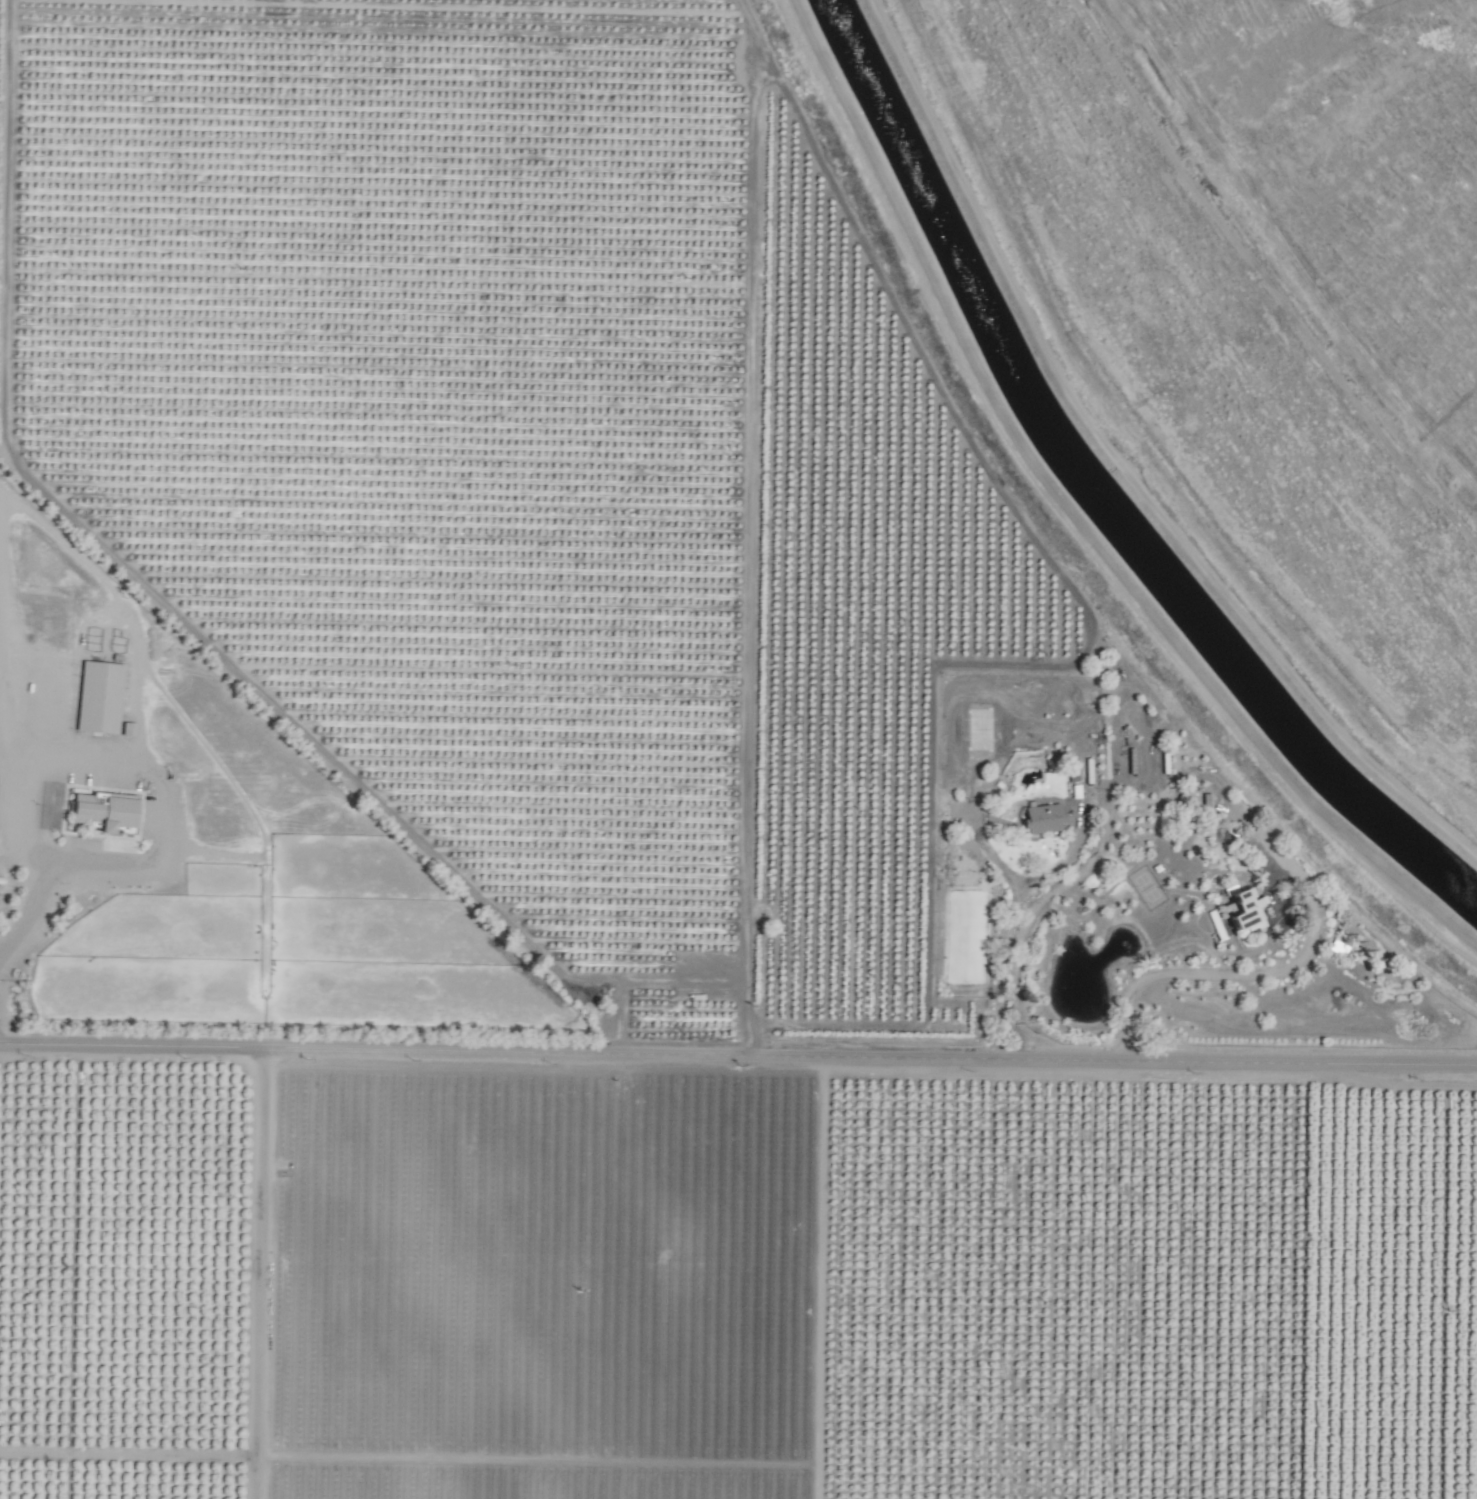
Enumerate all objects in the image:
road: (1067, 523)
building: (102, 698)
building: (130, 730)
road: (328, 756)
building: (108, 812)
building: (1039, 818)
crop: (572, 834)
road: (986, 853)
road: (122, 873)
crop: (1152, 887)
building: (1241, 910)
road: (1009, 917)
road: (1031, 919)
road: (1204, 977)
road: (738, 1059)
road: (255, 1276)

